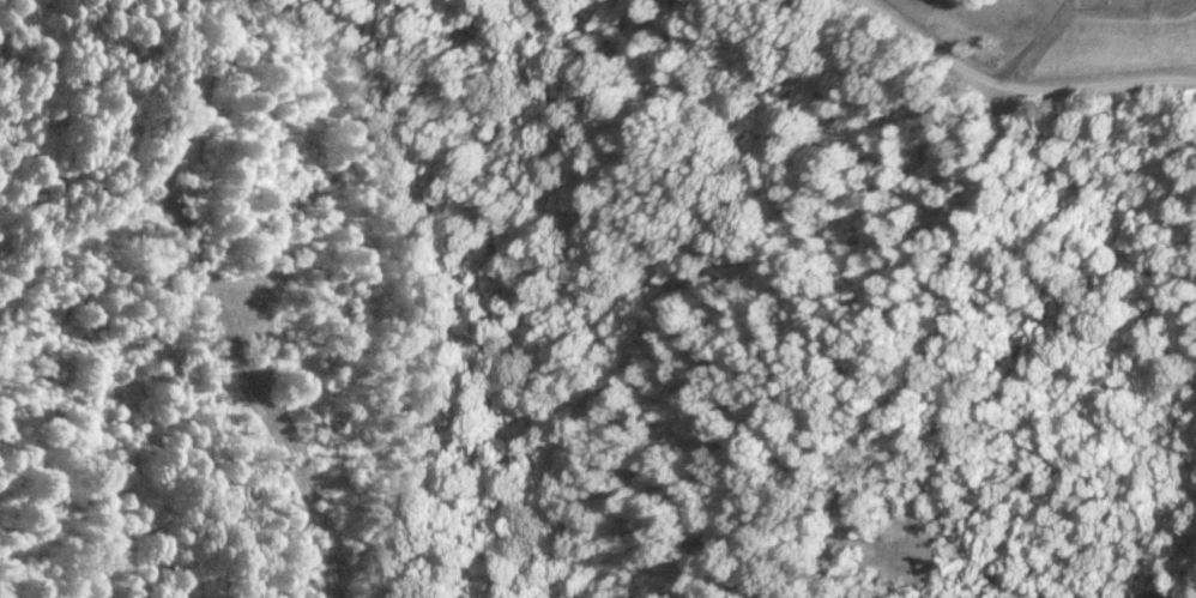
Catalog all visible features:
road: (1019, 85)
road: (928, 342)
road: (1162, 582)

